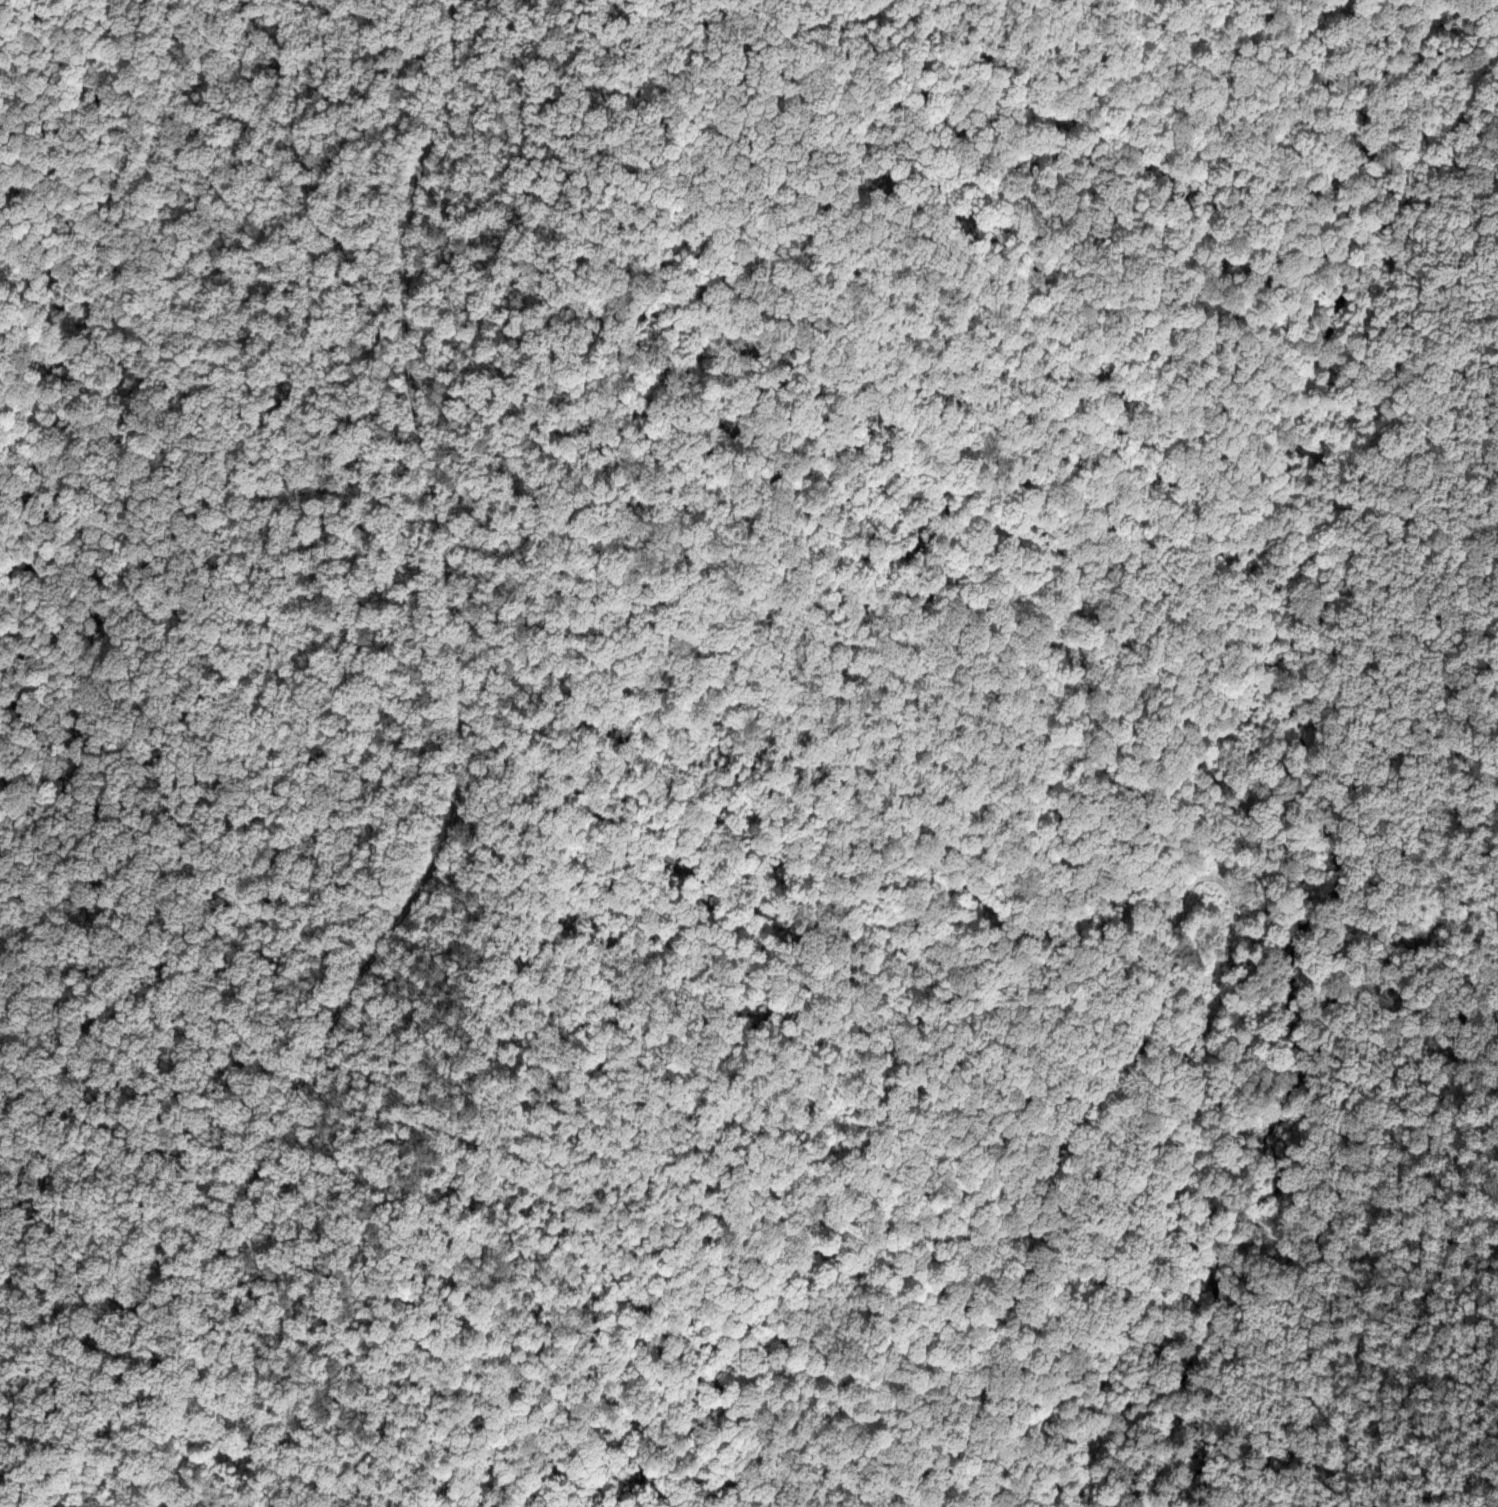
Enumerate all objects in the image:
road: (1289, 436)
road: (265, 672)
road: (460, 782)
road: (1200, 907)

